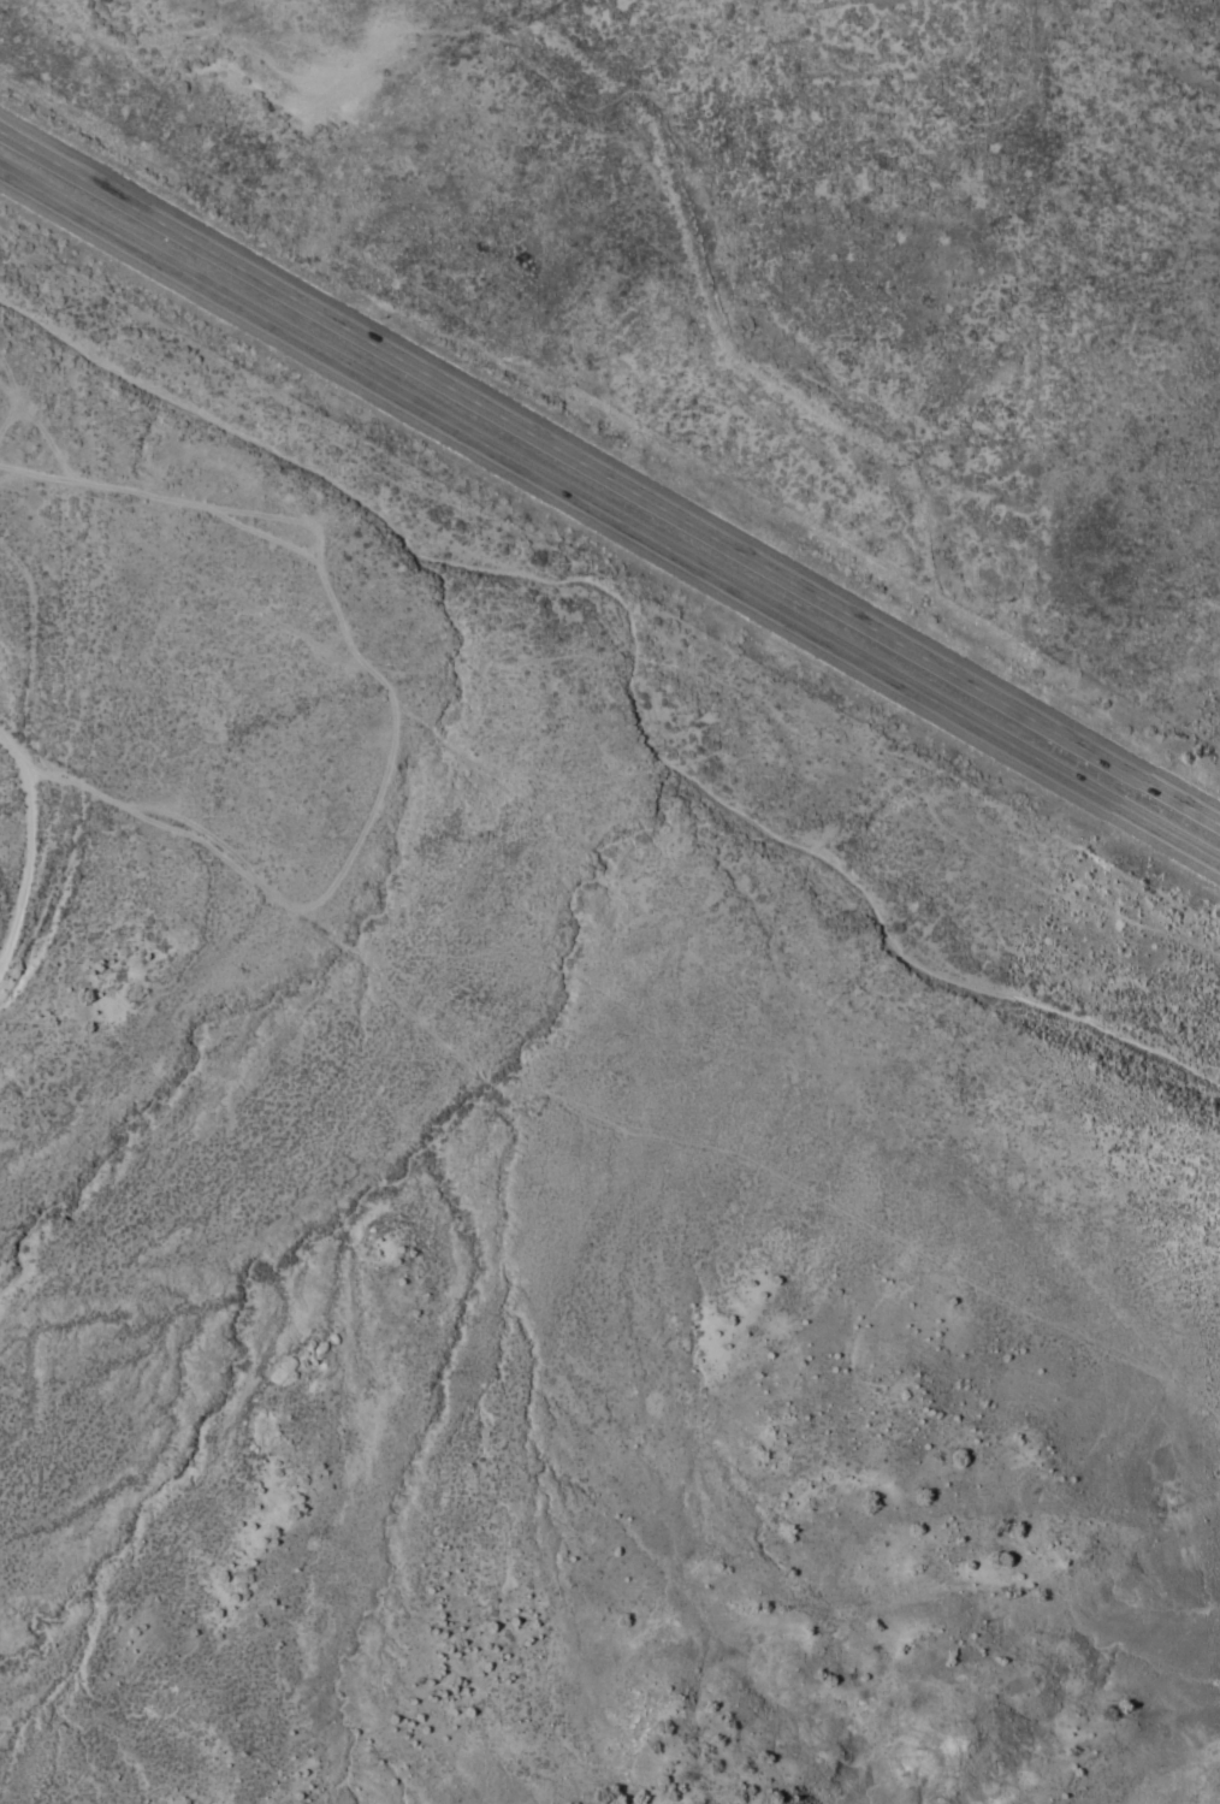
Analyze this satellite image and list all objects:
road: (610, 474)
road: (609, 516)
road: (42, 647)
road: (647, 1028)

